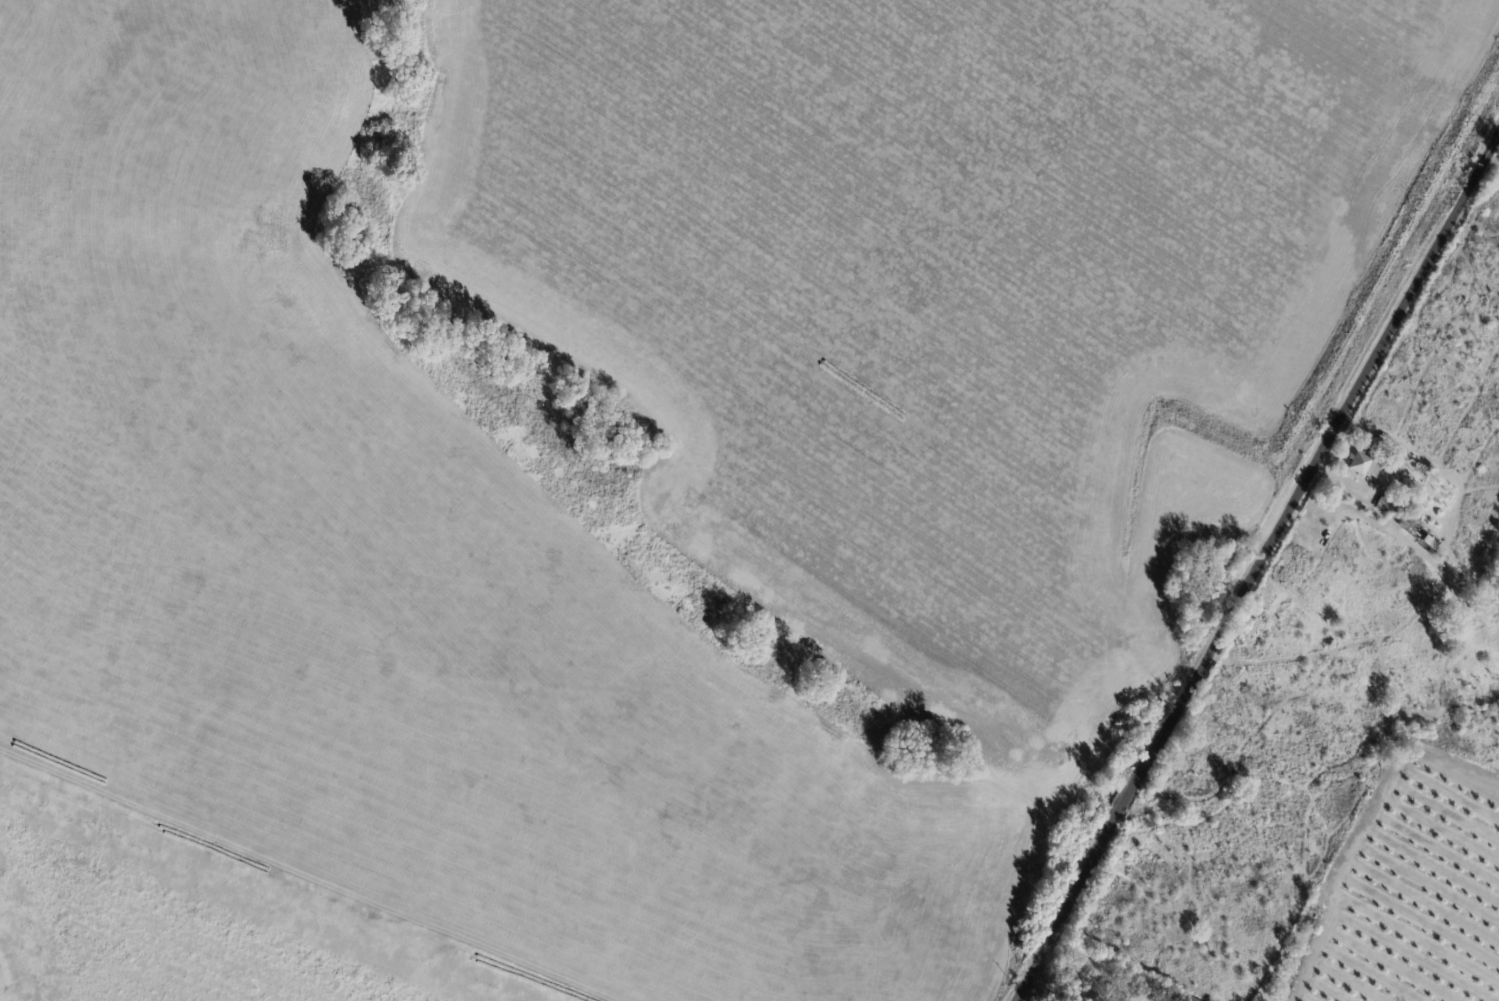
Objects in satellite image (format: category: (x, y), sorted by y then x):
building: (1364, 465)
building: (1418, 482)
building: (1388, 505)
building: (1225, 561)
road: (1257, 571)
crop: (396, 575)
crop: (1408, 892)
building: (1191, 1000)

